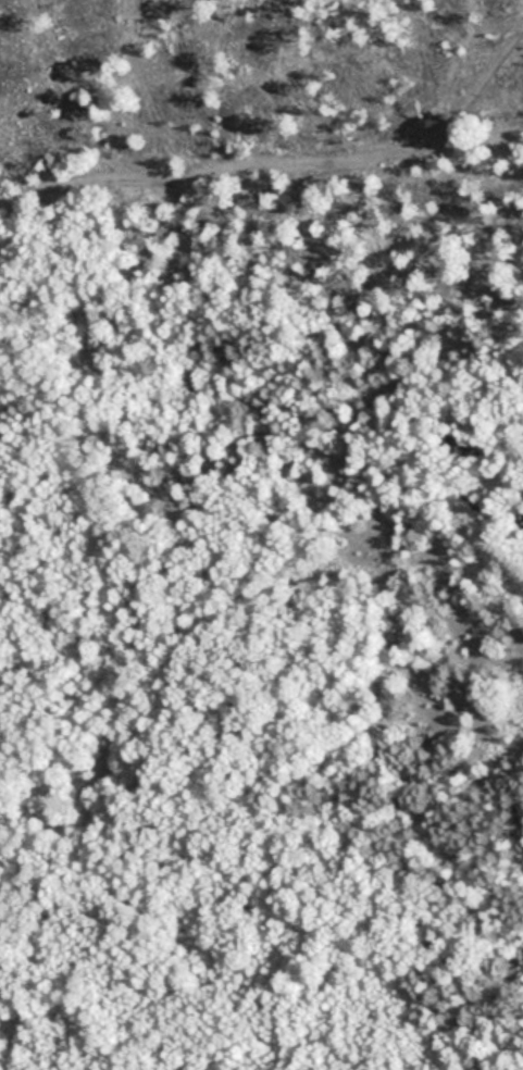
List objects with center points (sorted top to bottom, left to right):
park: (261, 535)

